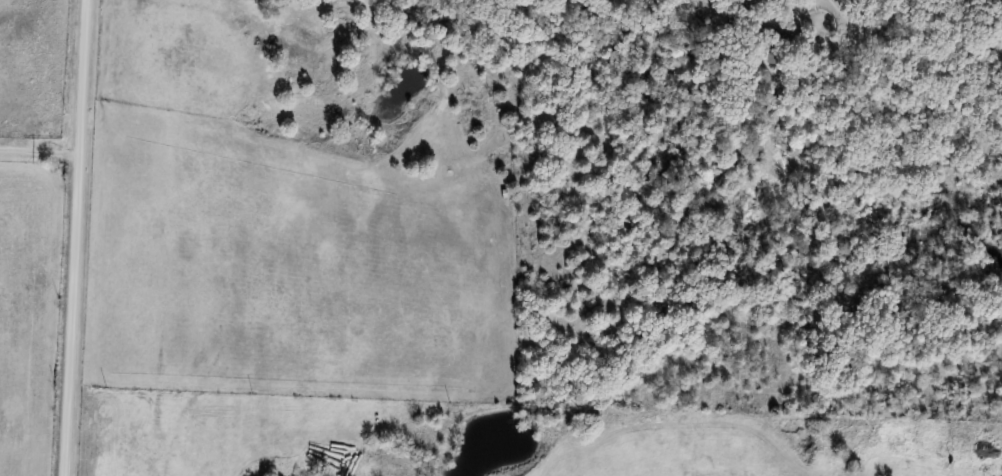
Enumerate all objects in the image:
building: (773, 46)
road: (38, 152)
road: (74, 237)

